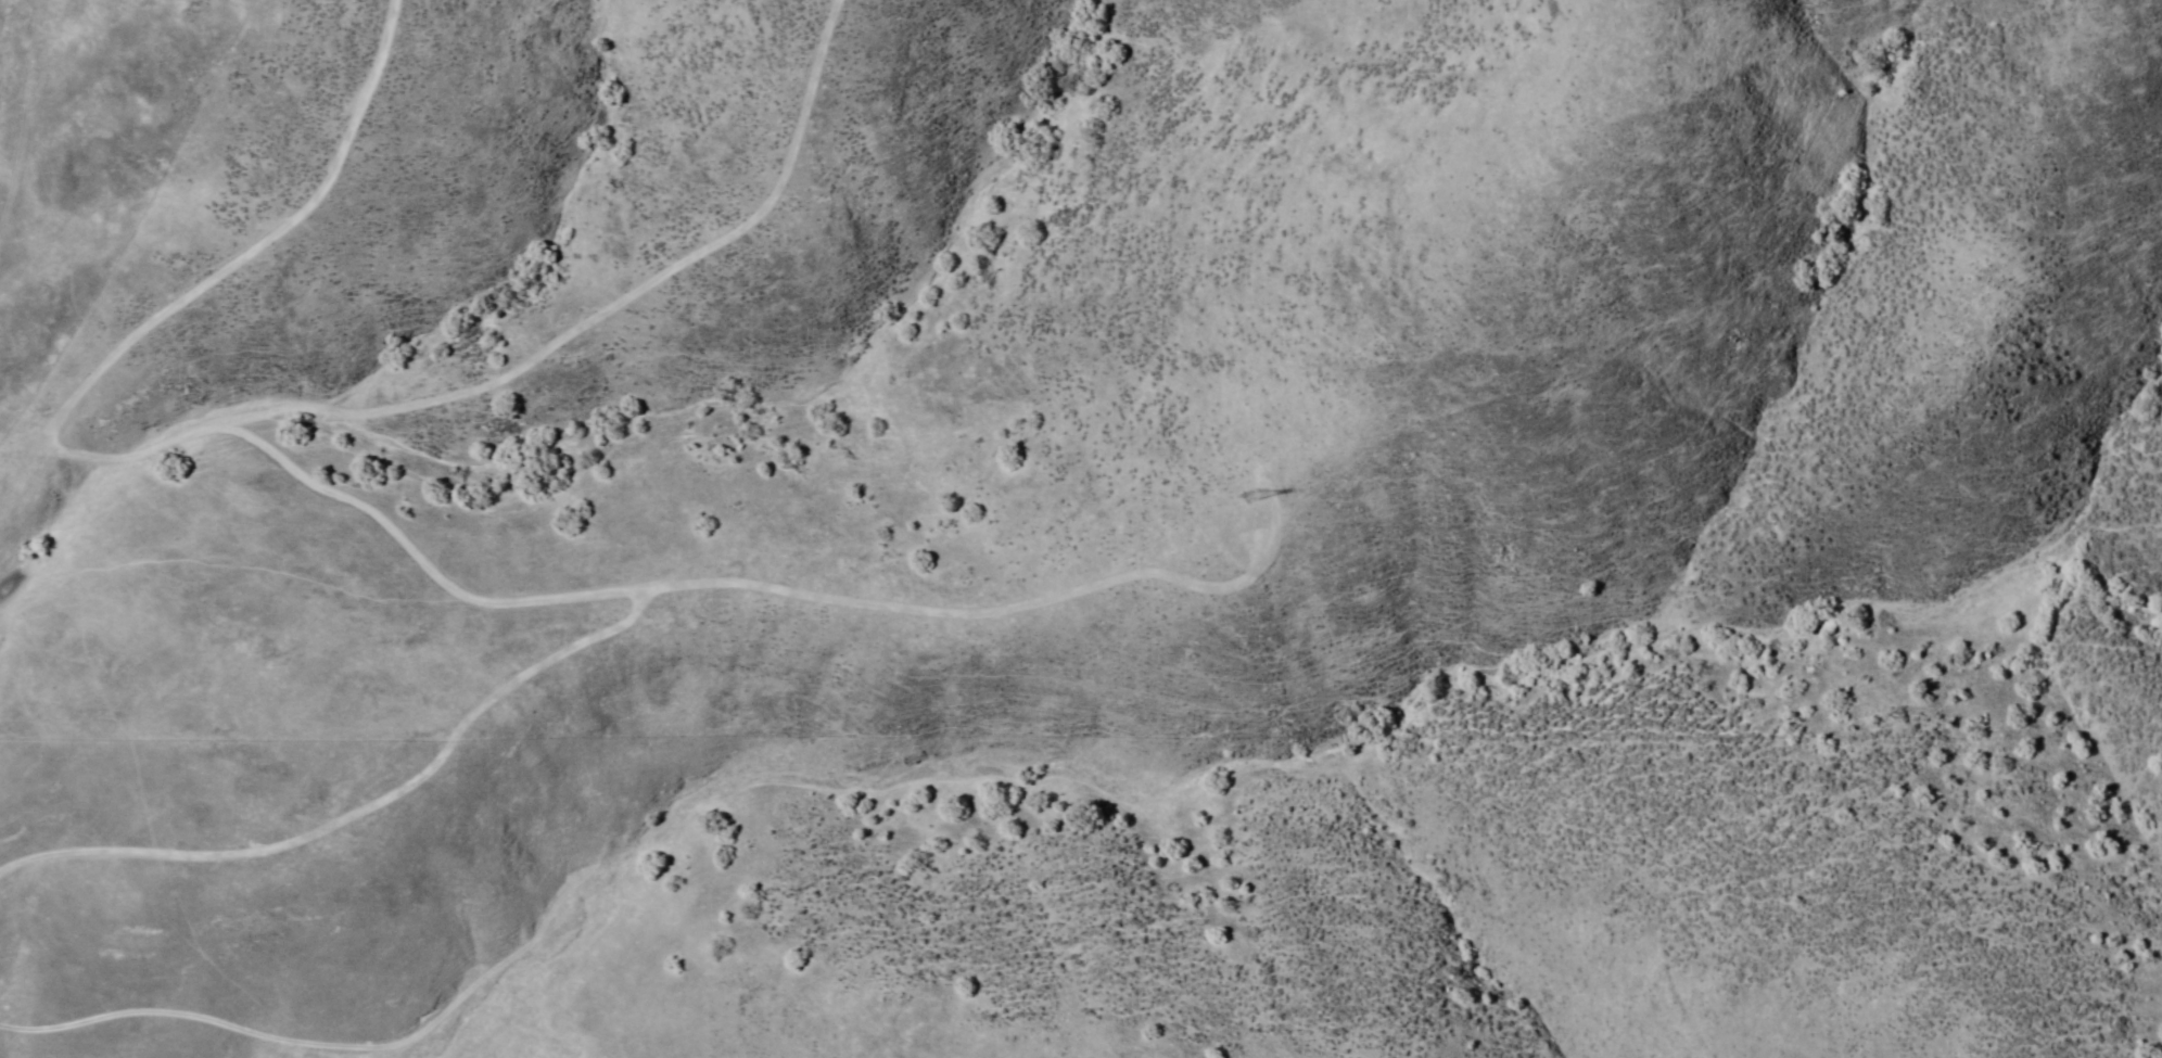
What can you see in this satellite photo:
road: (28, 152)
road: (1357, 528)
road: (977, 684)
road: (511, 999)

